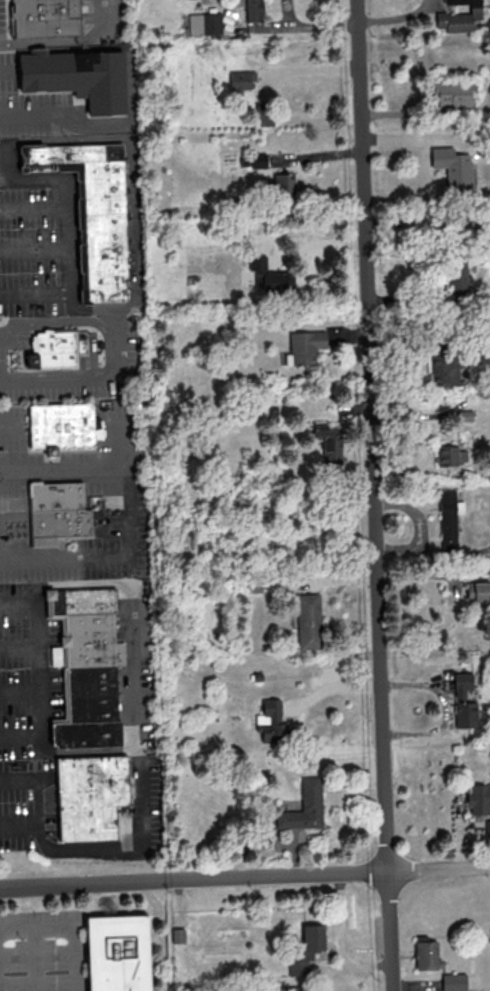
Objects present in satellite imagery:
building: (253, 10)
parking lot: (85, 11)
building: (46, 17)
building: (458, 17)
parking lot: (2, 19)
road: (99, 19)
building: (204, 23)
road: (312, 24)
road: (50, 41)
road: (5, 68)
building: (77, 76)
building: (241, 81)
building: (451, 93)
parking lot: (30, 105)
road: (33, 112)
road: (5, 157)
building: (451, 166)
road: (5, 179)
building: (283, 183)
road: (68, 195)
road: (34, 204)
building: (94, 213)
parking lot: (30, 249)
road: (35, 249)
building: (458, 274)
building: (270, 276)
road: (35, 293)
road: (105, 331)
road: (0, 338)
building: (305, 345)
building: (51, 349)
parking lot: (128, 360)
building: (444, 369)
road: (85, 381)
building: (60, 425)
road: (11, 426)
parking lot: (109, 432)
building: (328, 443)
building: (449, 455)
road: (80, 467)
road: (374, 495)
building: (57, 512)
road: (9, 518)
building: (447, 520)
road: (18, 537)
parking lot: (74, 541)
road: (114, 555)
building: (477, 591)
road: (17, 601)
building: (308, 620)
building: (86, 625)
road: (18, 647)
road: (36, 667)
parking lot: (16, 672)
road: (19, 690)
building: (463, 701)
road: (448, 706)
building: (90, 710)
building: (270, 721)
road: (20, 733)
road: (36, 789)
building: (91, 797)
building: (478, 799)
parking lot: (25, 802)
building: (303, 806)
building: (487, 826)
road: (109, 851)
road: (244, 876)
road: (67, 930)
building: (177, 935)
building: (306, 949)
building: (121, 953)
building: (425, 954)
road: (33, 961)
building: (453, 982)
building: (293, 988)

